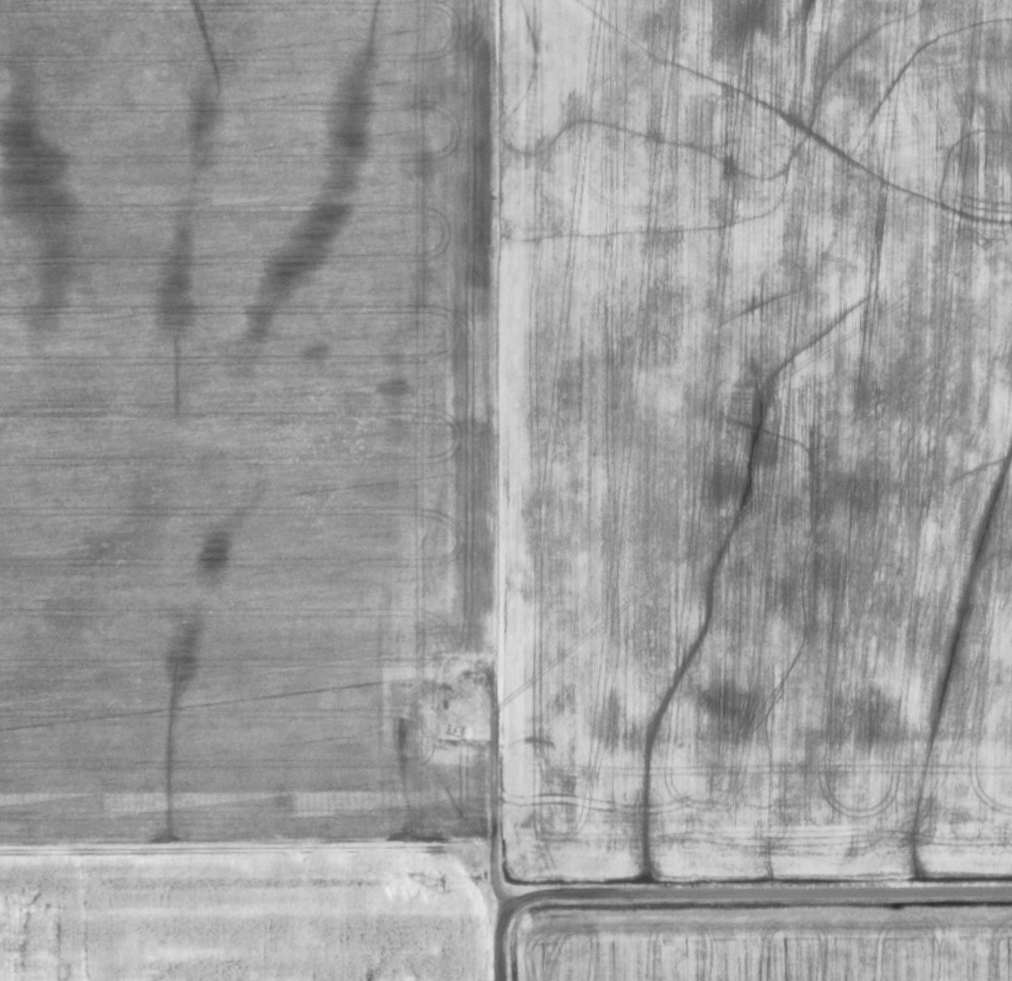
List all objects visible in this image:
road: (495, 788)
road: (722, 892)

